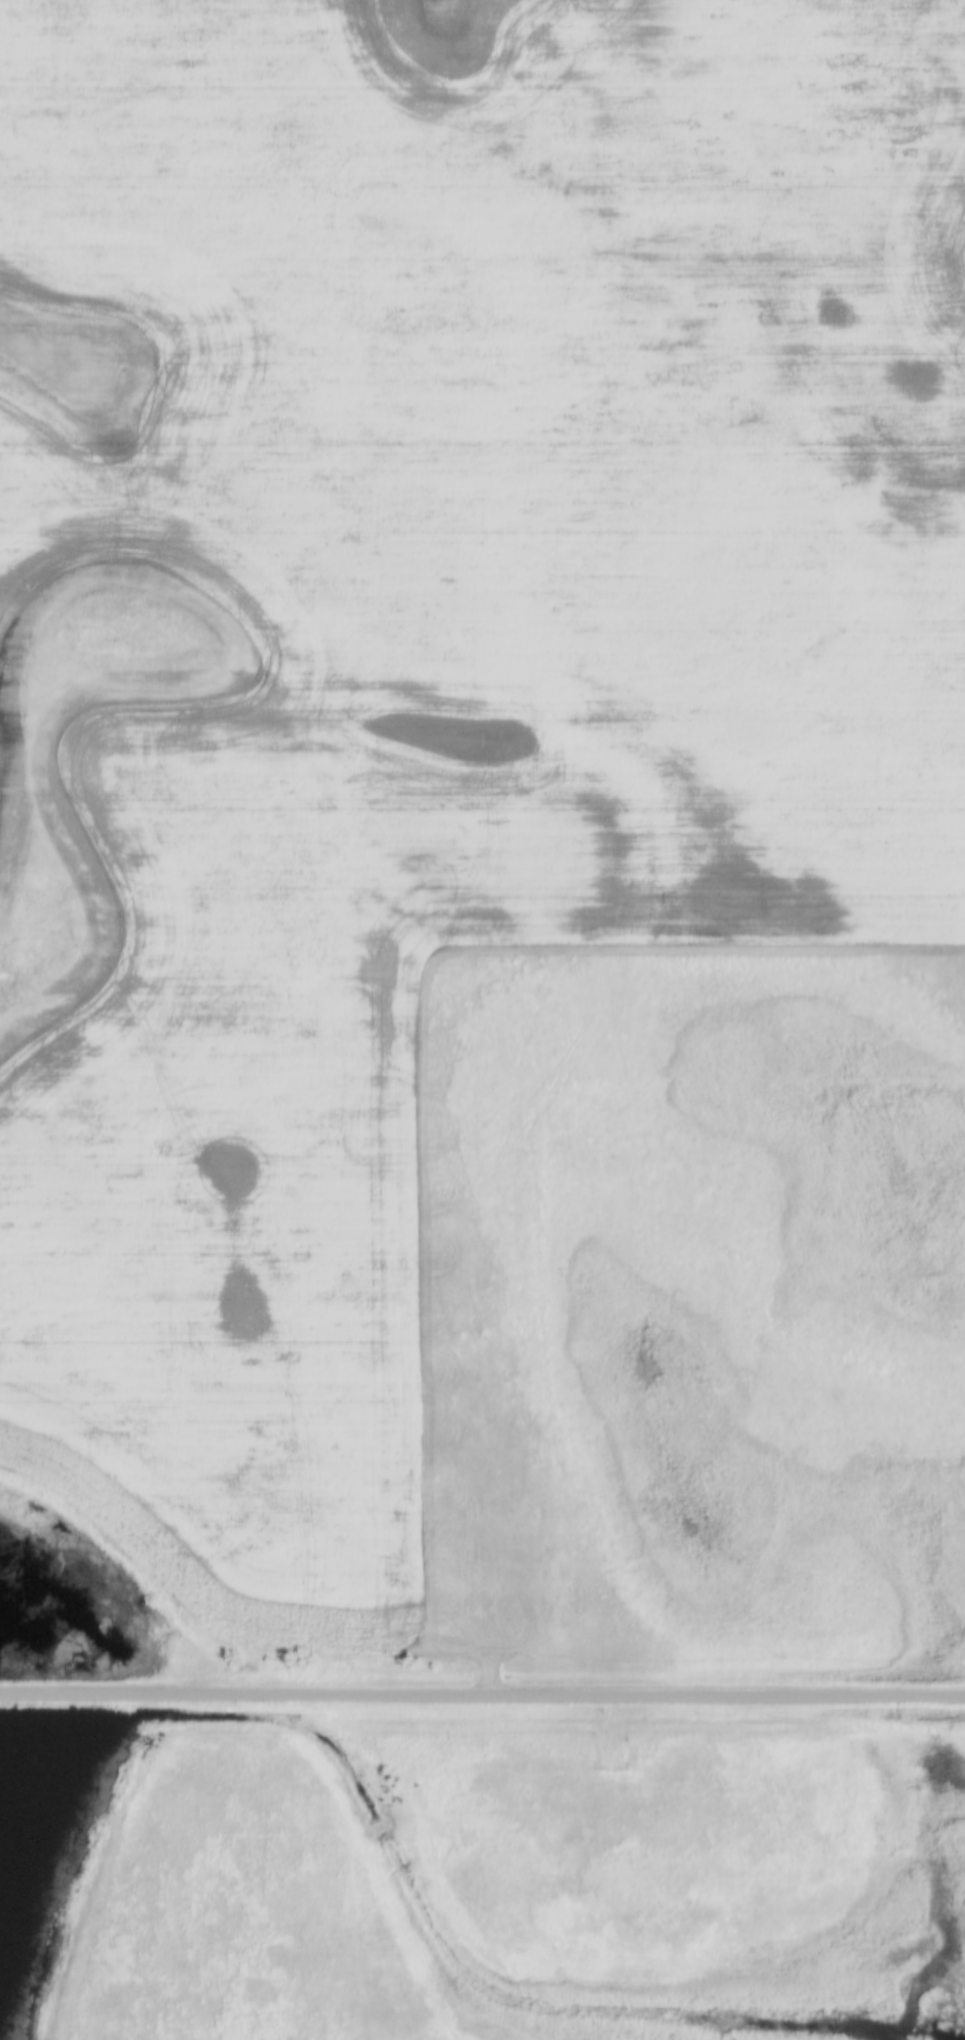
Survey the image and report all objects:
road: (482, 1700)

